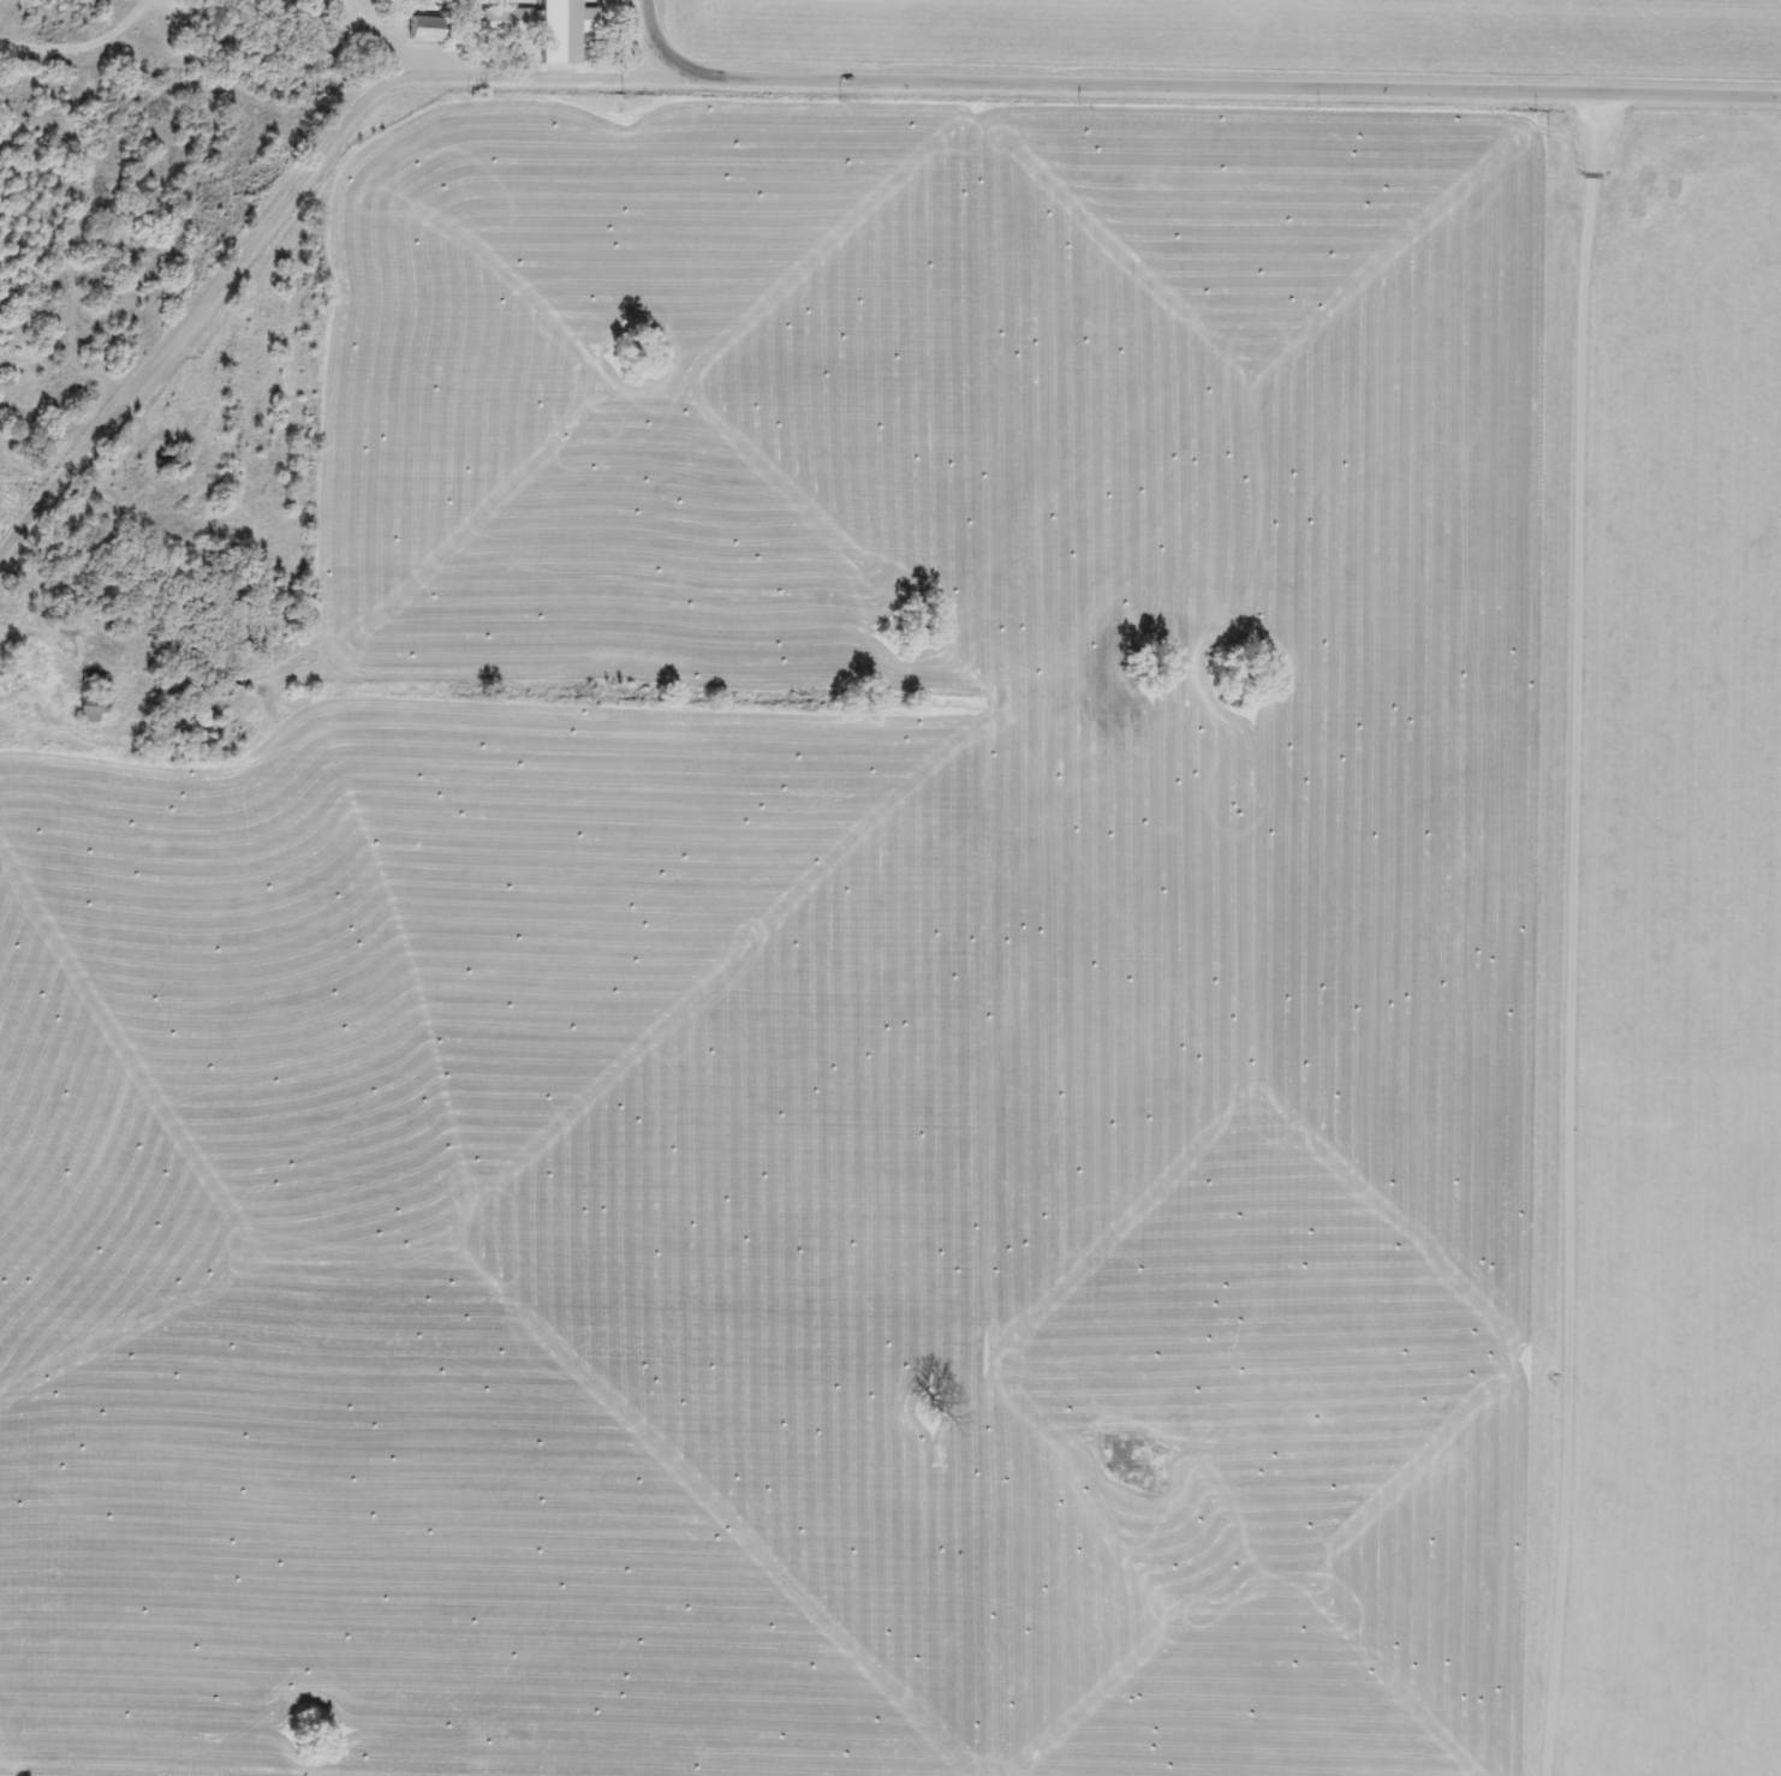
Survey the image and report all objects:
building: (511, 23)
building: (427, 30)
road: (654, 38)
road: (1217, 89)
road: (275, 211)
building: (94, 698)

